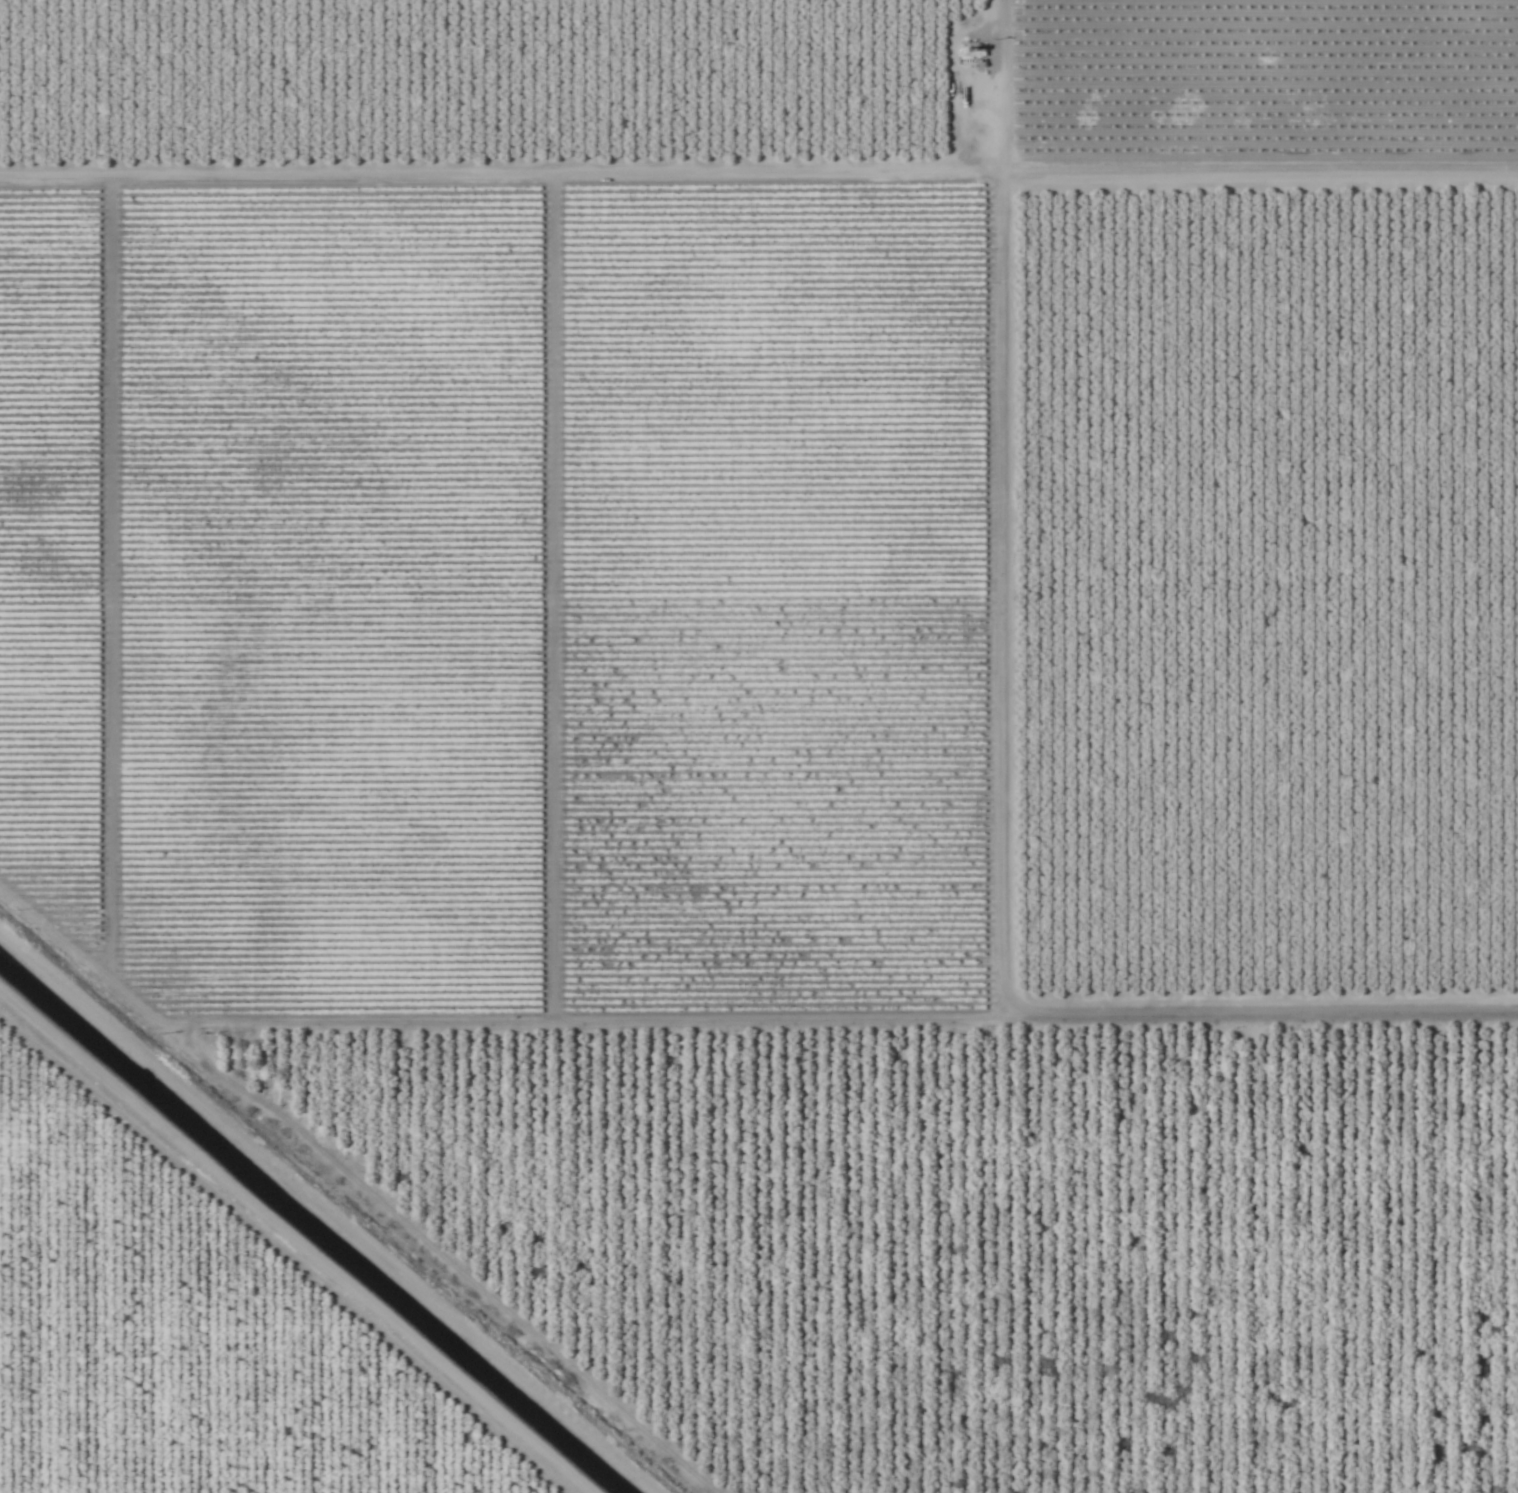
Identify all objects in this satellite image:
road: (1030, 505)
crop: (759, 746)
road: (1275, 1026)
road: (296, 1243)

